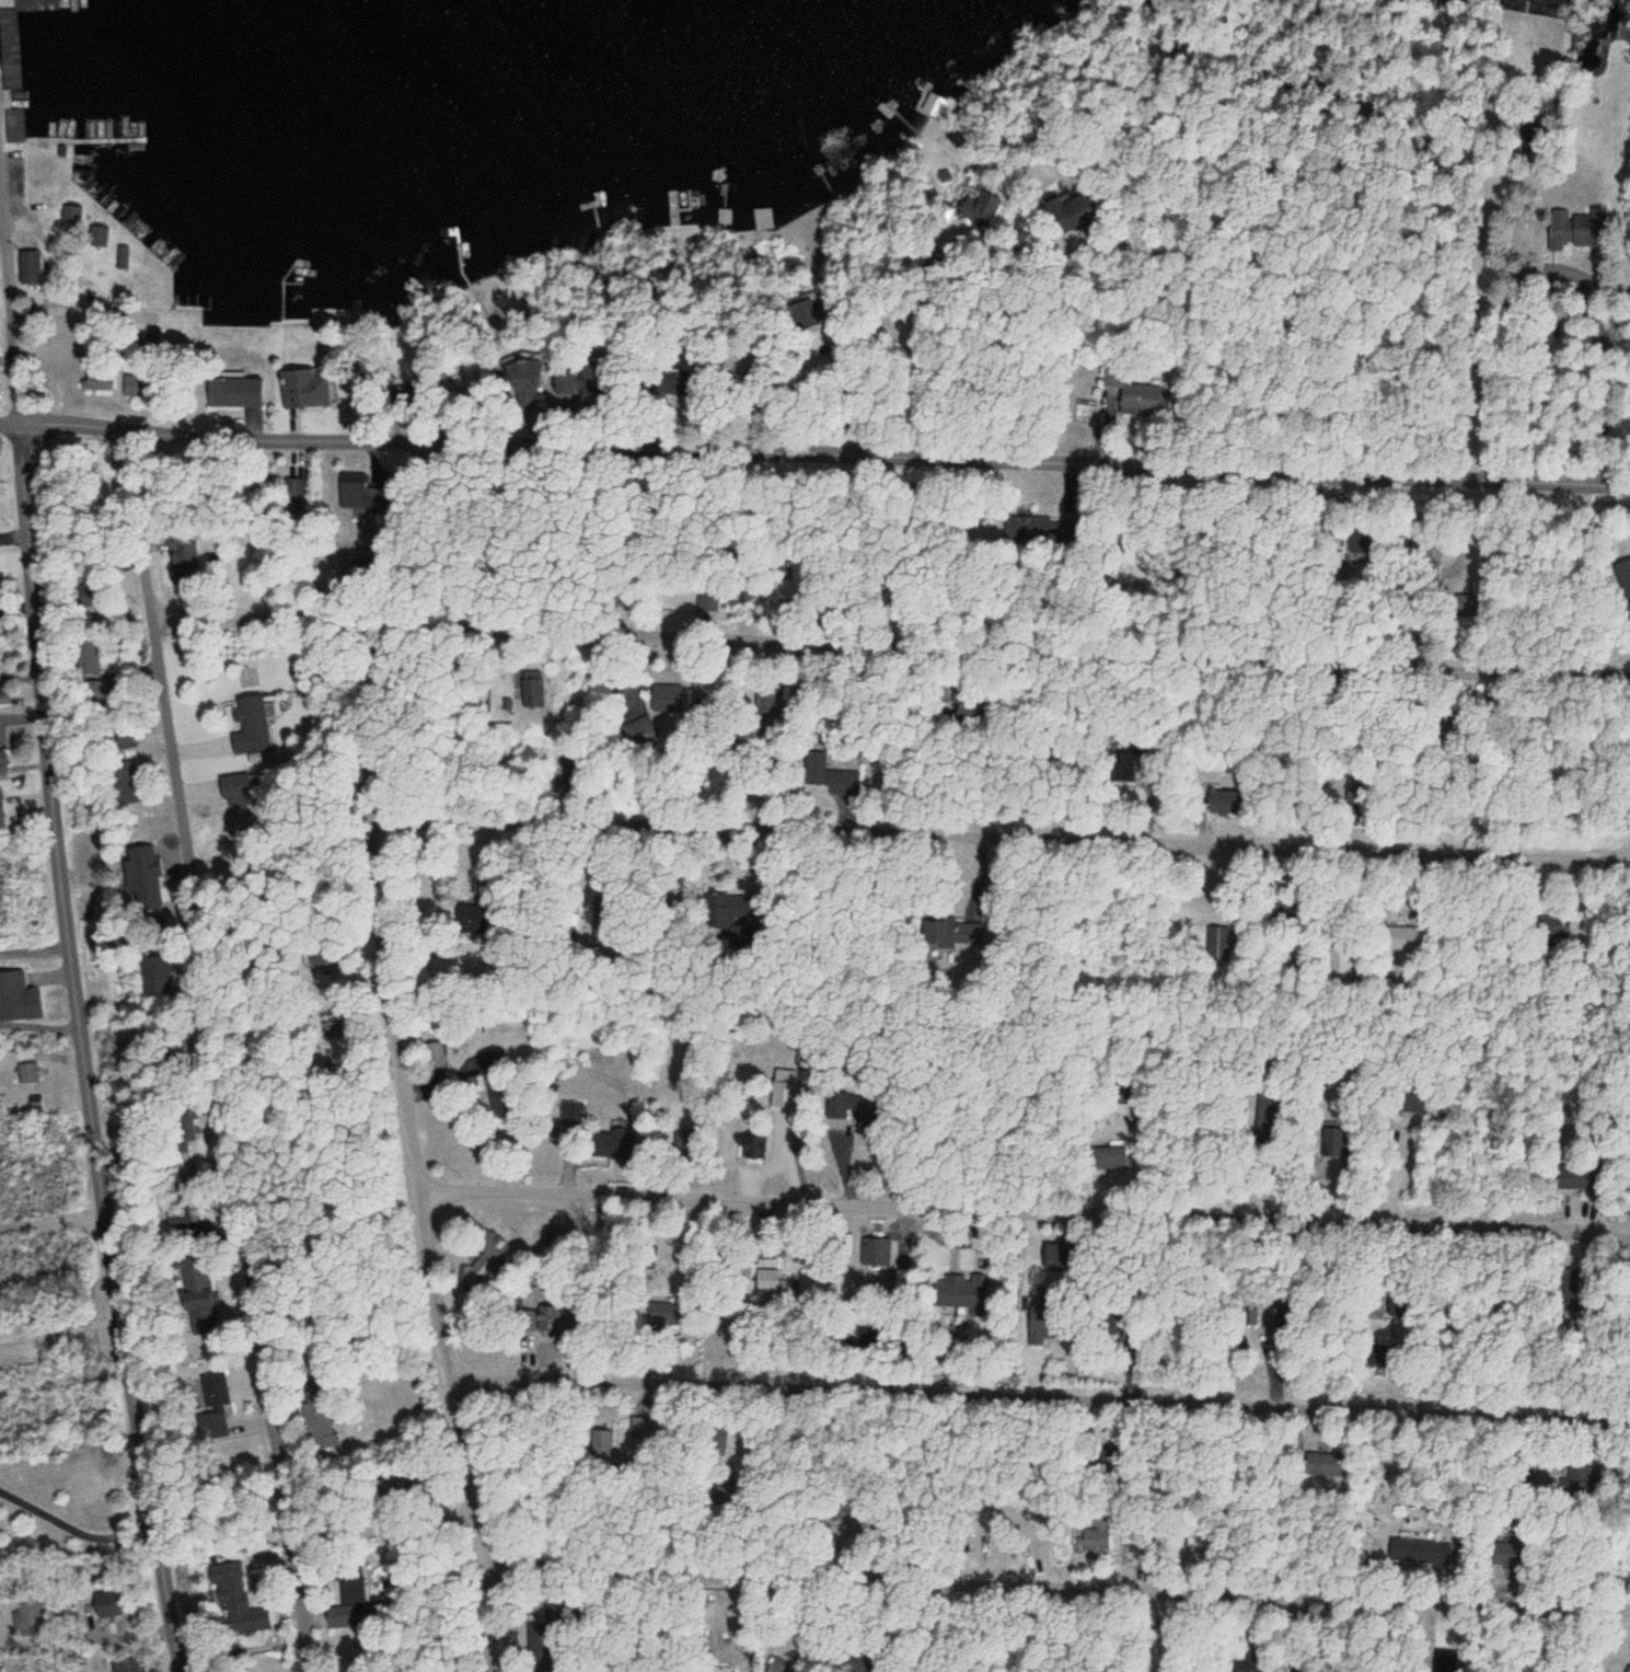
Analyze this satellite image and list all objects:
road: (1164, 107)
building: (763, 218)
road: (1, 224)
building: (1573, 229)
building: (99, 237)
building: (123, 260)
road: (1250, 289)
road: (1481, 296)
road: (12, 305)
building: (810, 313)
road: (1002, 342)
road: (1013, 353)
building: (1123, 378)
building: (97, 382)
building: (305, 388)
road: (1109, 389)
building: (235, 390)
road: (859, 396)
road: (810, 415)
road: (813, 464)
building: (357, 491)
building: (197, 565)
building: (1623, 574)
building: (93, 598)
building: (1629, 604)
building: (750, 625)
road: (892, 656)
building: (90, 657)
building: (533, 689)
building: (247, 729)
building: (124, 739)
building: (2, 758)
road: (21, 776)
building: (123, 776)
building: (848, 776)
building: (1225, 800)
building: (3, 818)
road: (1004, 843)
building: (739, 906)
building: (469, 919)
building: (1406, 938)
building: (1222, 944)
building: (151, 987)
building: (19, 998)
road: (81, 1049)
building: (435, 1056)
road: (41, 1057)
road: (217, 1057)
building: (493, 1057)
building: (28, 1072)
building: (1129, 1093)
building: (1407, 1100)
road: (407, 1102)
building: (1334, 1142)
building: (610, 1144)
building: (753, 1148)
building: (1629, 1154)
building: (1114, 1156)
building: (1576, 1176)
road: (1027, 1208)
road: (51, 1212)
building: (1570, 1282)
building: (961, 1292)
building: (207, 1310)
building: (666, 1314)
road: (59, 1322)
building: (1375, 1354)
road: (62, 1384)
road: (1037, 1402)
building: (608, 1442)
road: (372, 1515)
building: (1105, 1534)
building: (1421, 1552)
building: (1506, 1554)
road: (1053, 1584)
building: (355, 1592)
building: (239, 1603)
building: (106, 1610)
road: (494, 1615)
building: (547, 1635)
road: (86, 1650)
building: (779, 1664)
building: (130, 1665)
building: (1628, 1668)

